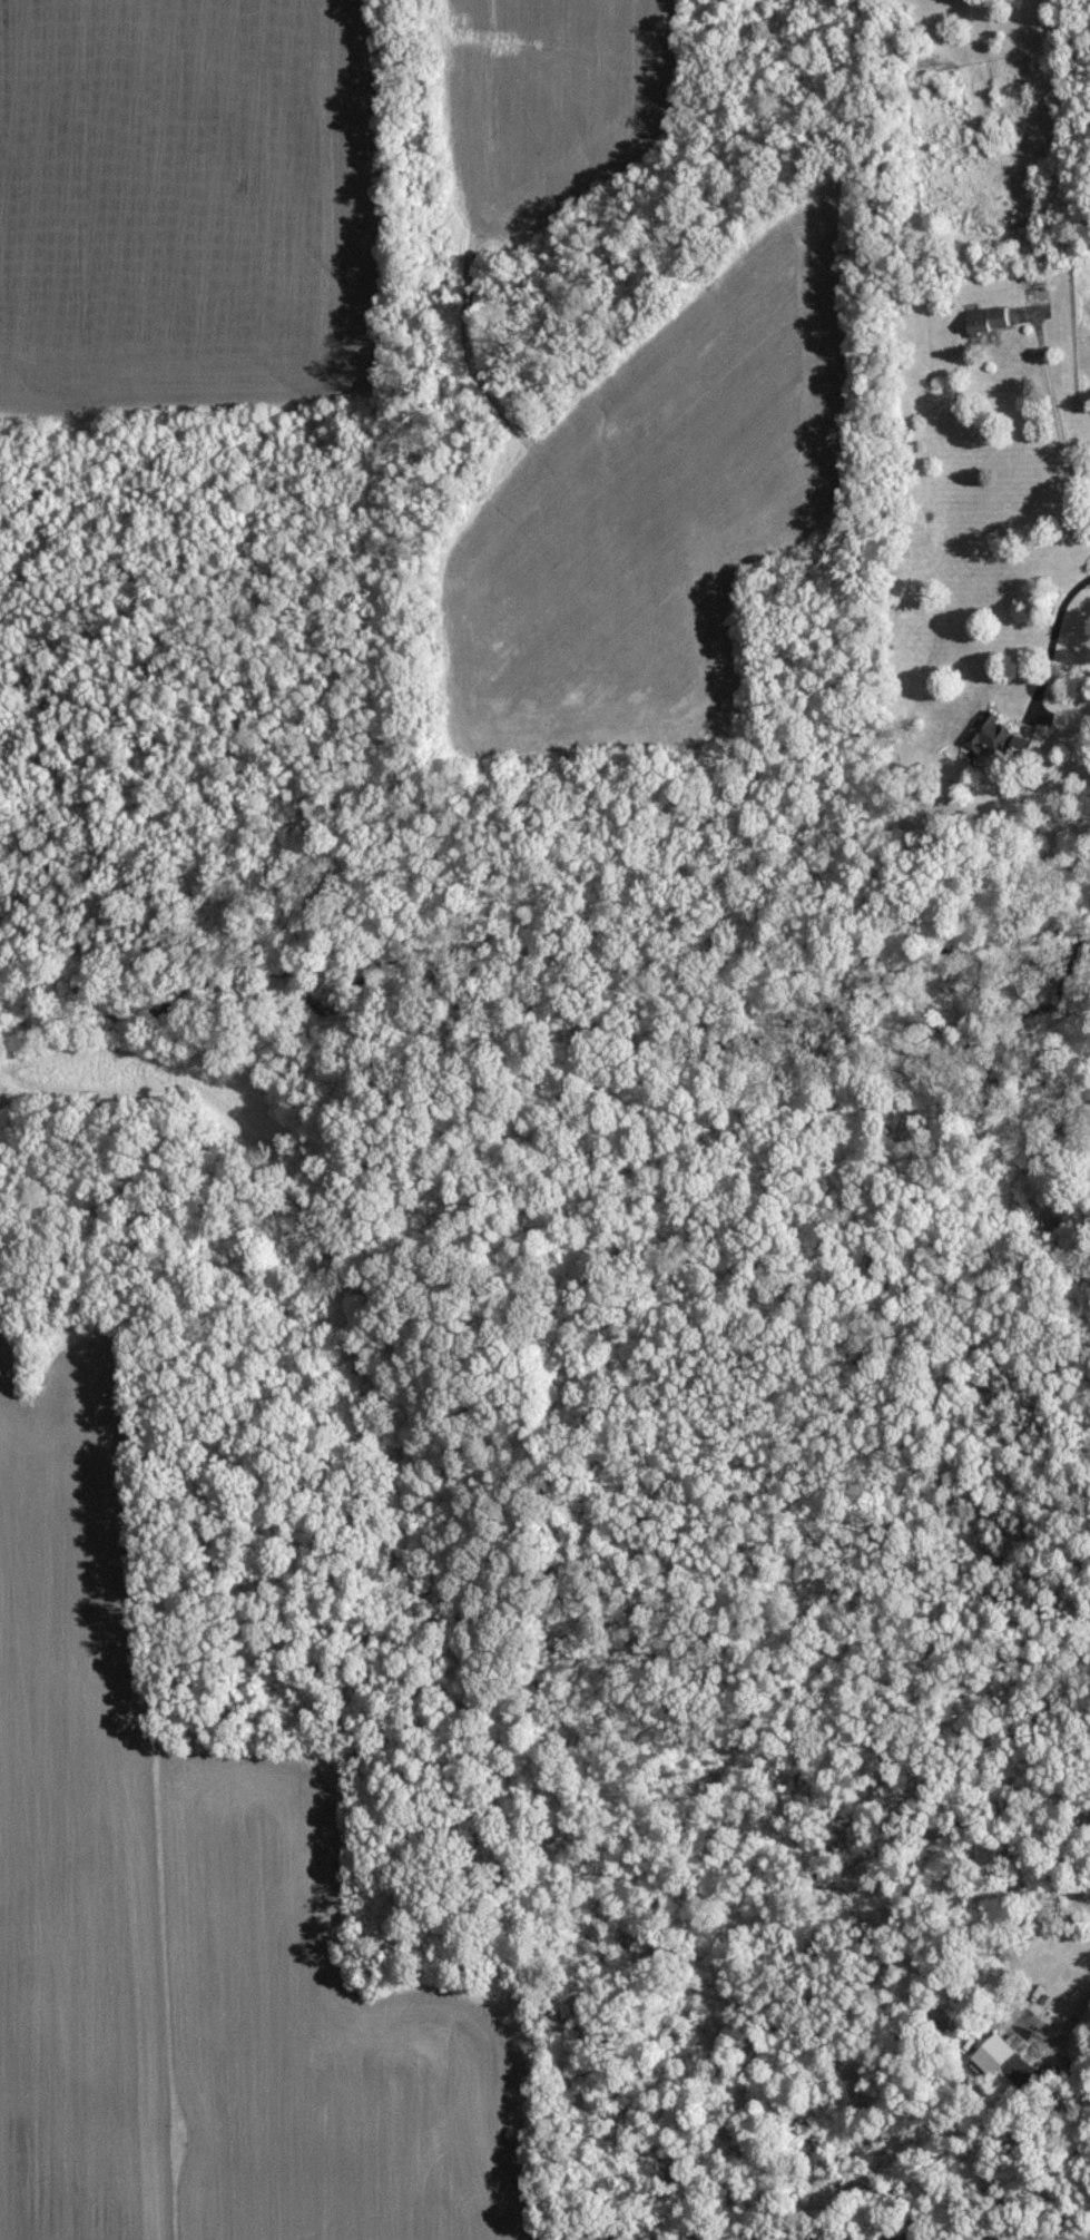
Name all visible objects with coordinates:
building: (992, 320)
road: (1055, 425)
road: (1052, 633)
building: (1001, 736)
road: (1086, 2020)
building: (998, 2055)

